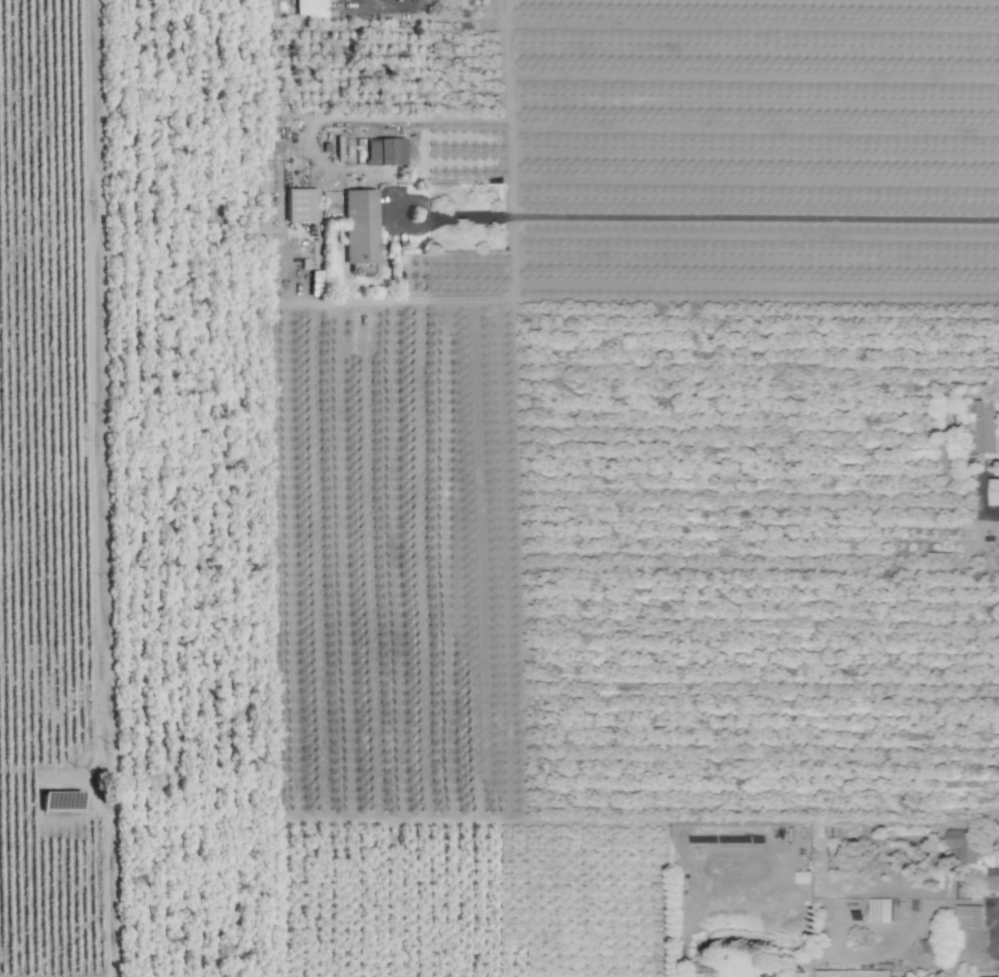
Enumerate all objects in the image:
road: (402, 5)
building: (310, 8)
road: (504, 109)
building: (385, 151)
building: (301, 205)
road: (706, 218)
building: (360, 230)
building: (983, 426)
building: (994, 492)
building: (962, 844)
building: (992, 879)
building: (880, 910)
building: (969, 915)
building: (993, 976)

